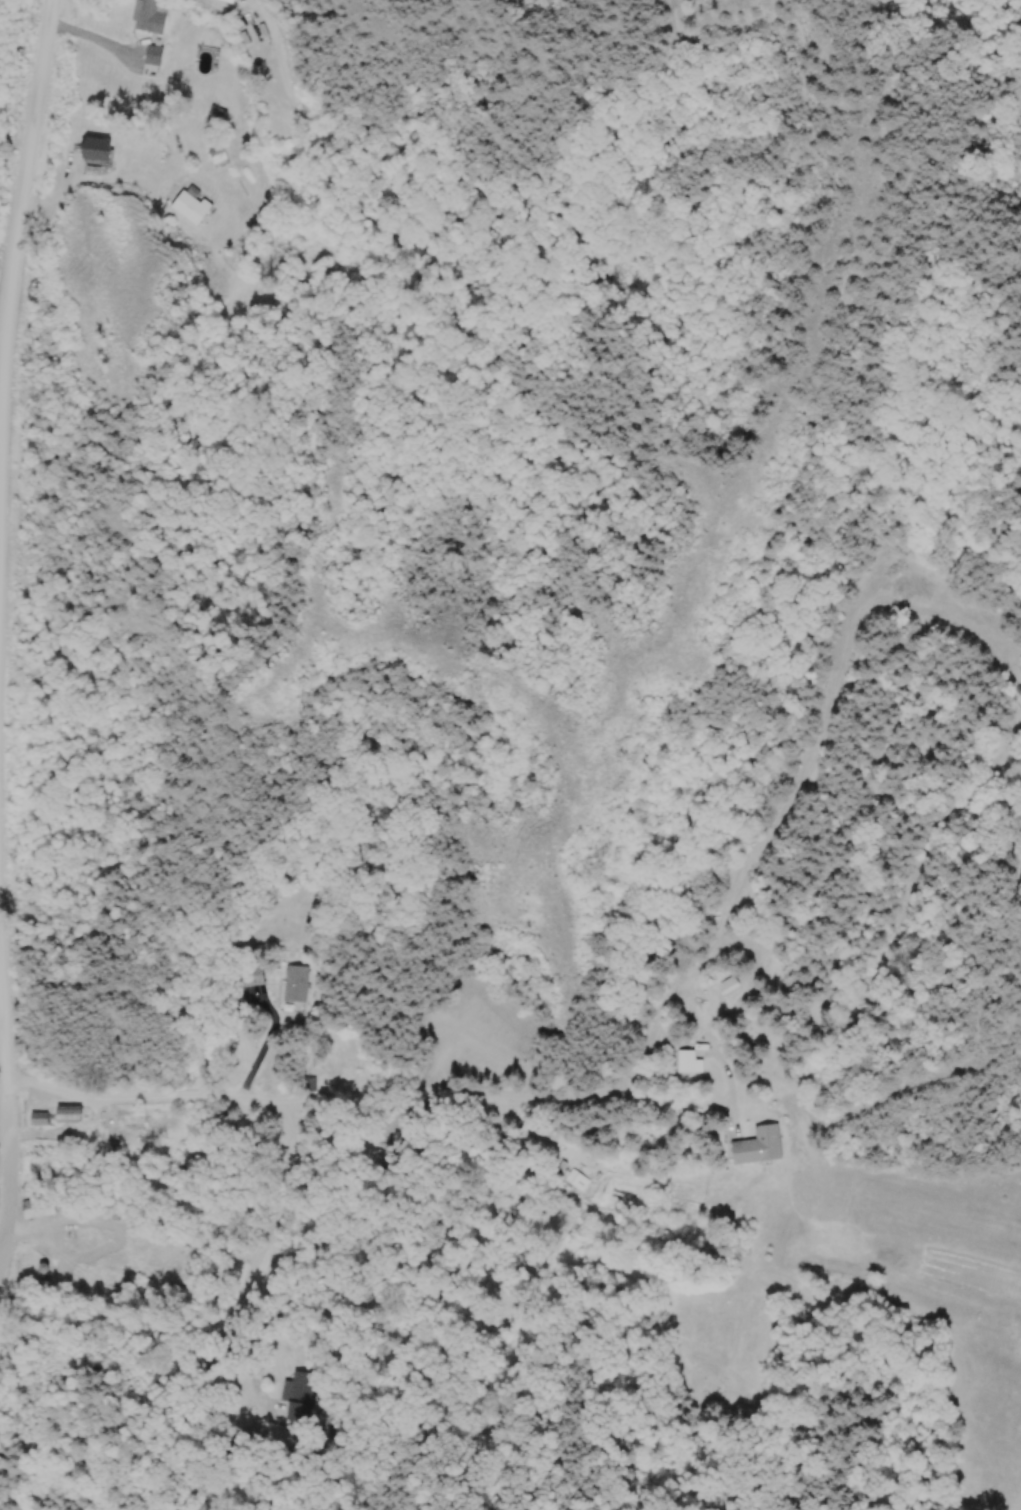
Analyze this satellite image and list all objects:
building: (228, 1)
building: (150, 17)
building: (155, 56)
building: (210, 113)
building: (99, 150)
building: (219, 155)
road: (20, 167)
building: (252, 977)
building: (297, 985)
road: (271, 1009)
road: (355, 1084)
building: (71, 1116)
building: (41, 1120)
building: (135, 1120)
building: (92, 1144)
building: (760, 1148)
building: (40, 1209)
road: (252, 1236)
building: (299, 1396)
road: (231, 1434)

